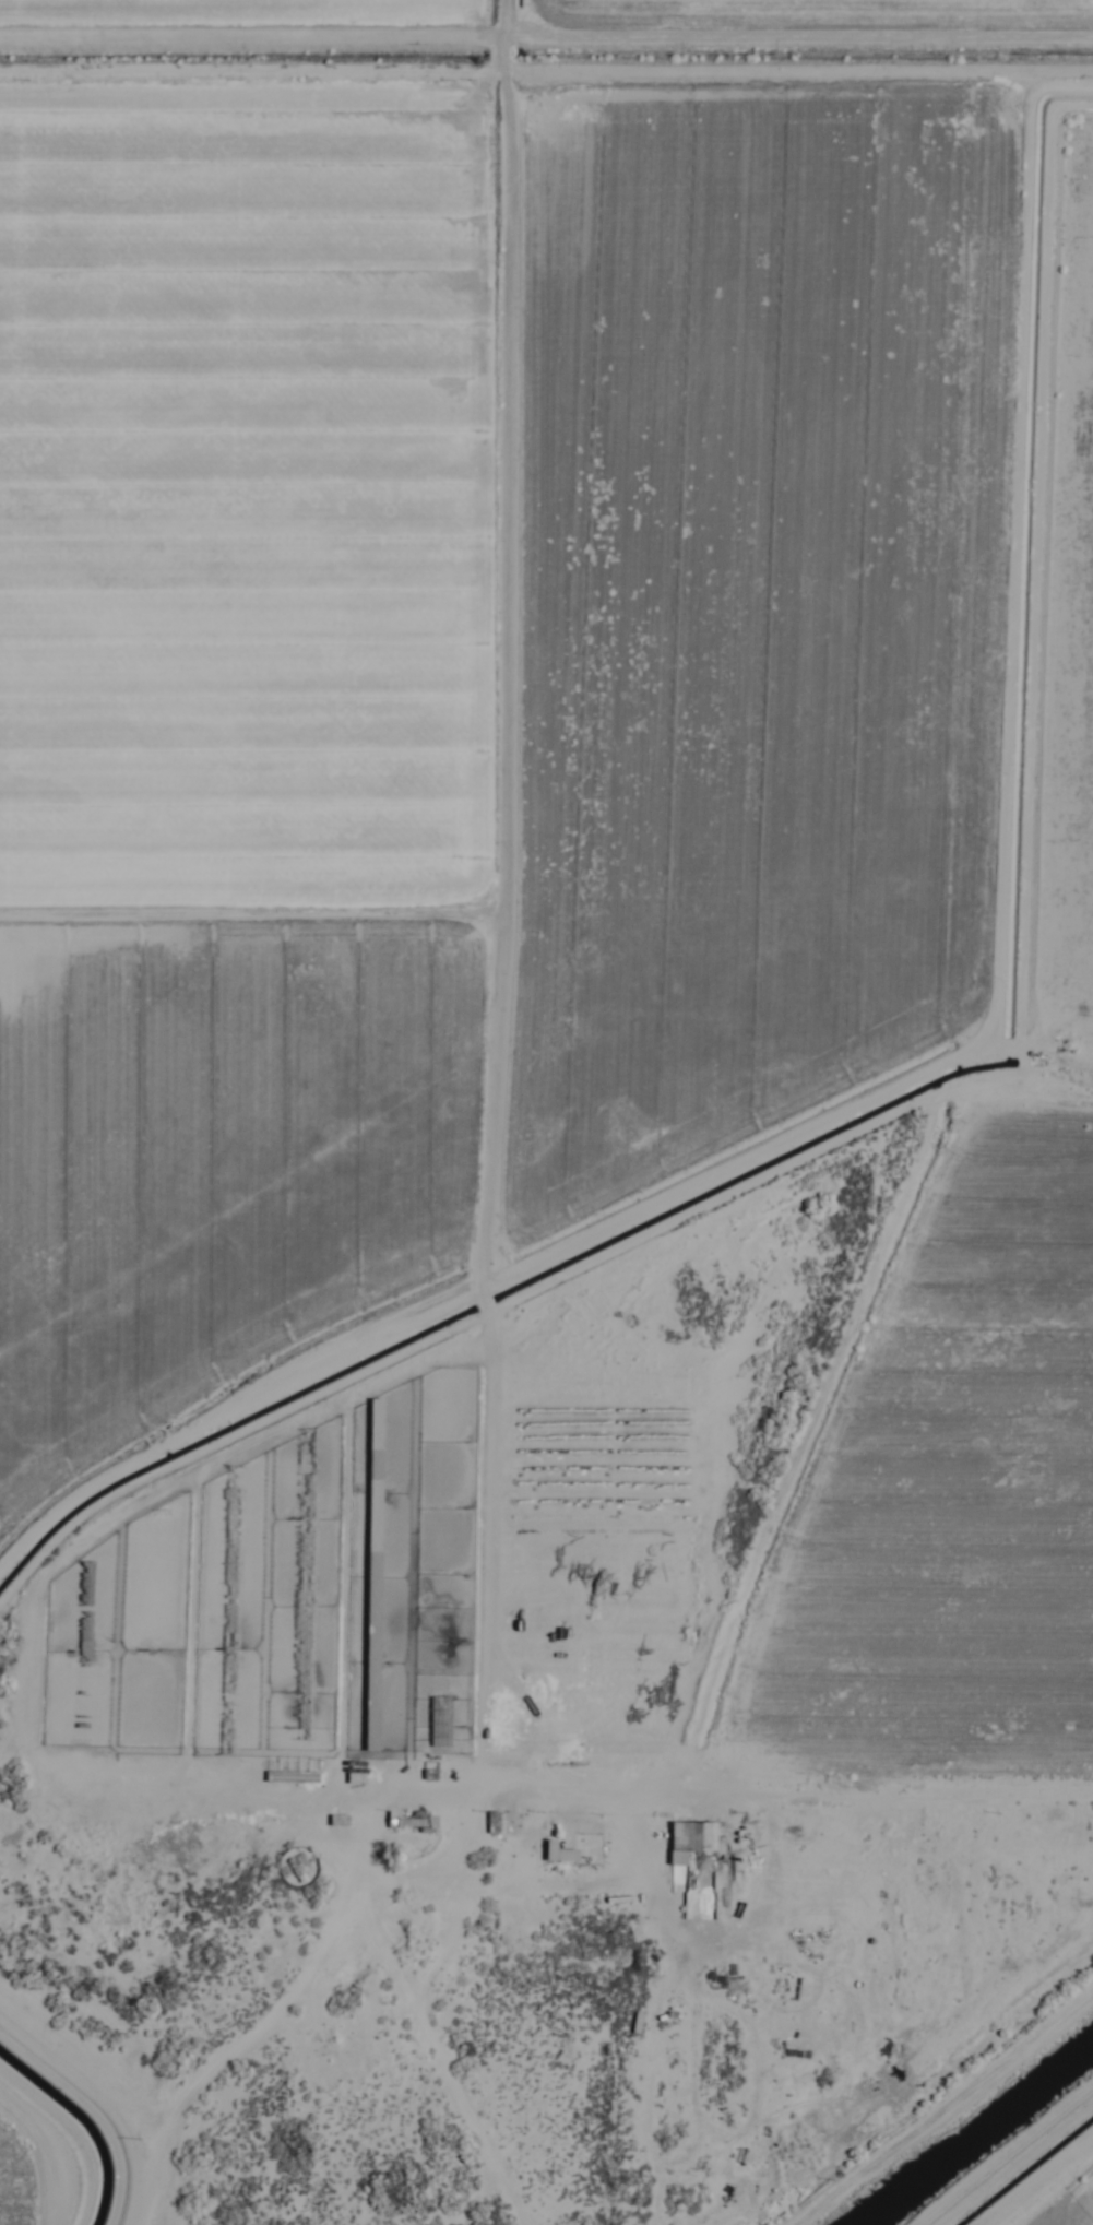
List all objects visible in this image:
crop: (549, 885)
building: (436, 1553)
building: (371, 1574)
building: (83, 1616)
building: (413, 1822)
building: (691, 1838)
building: (557, 1854)
building: (634, 2023)

